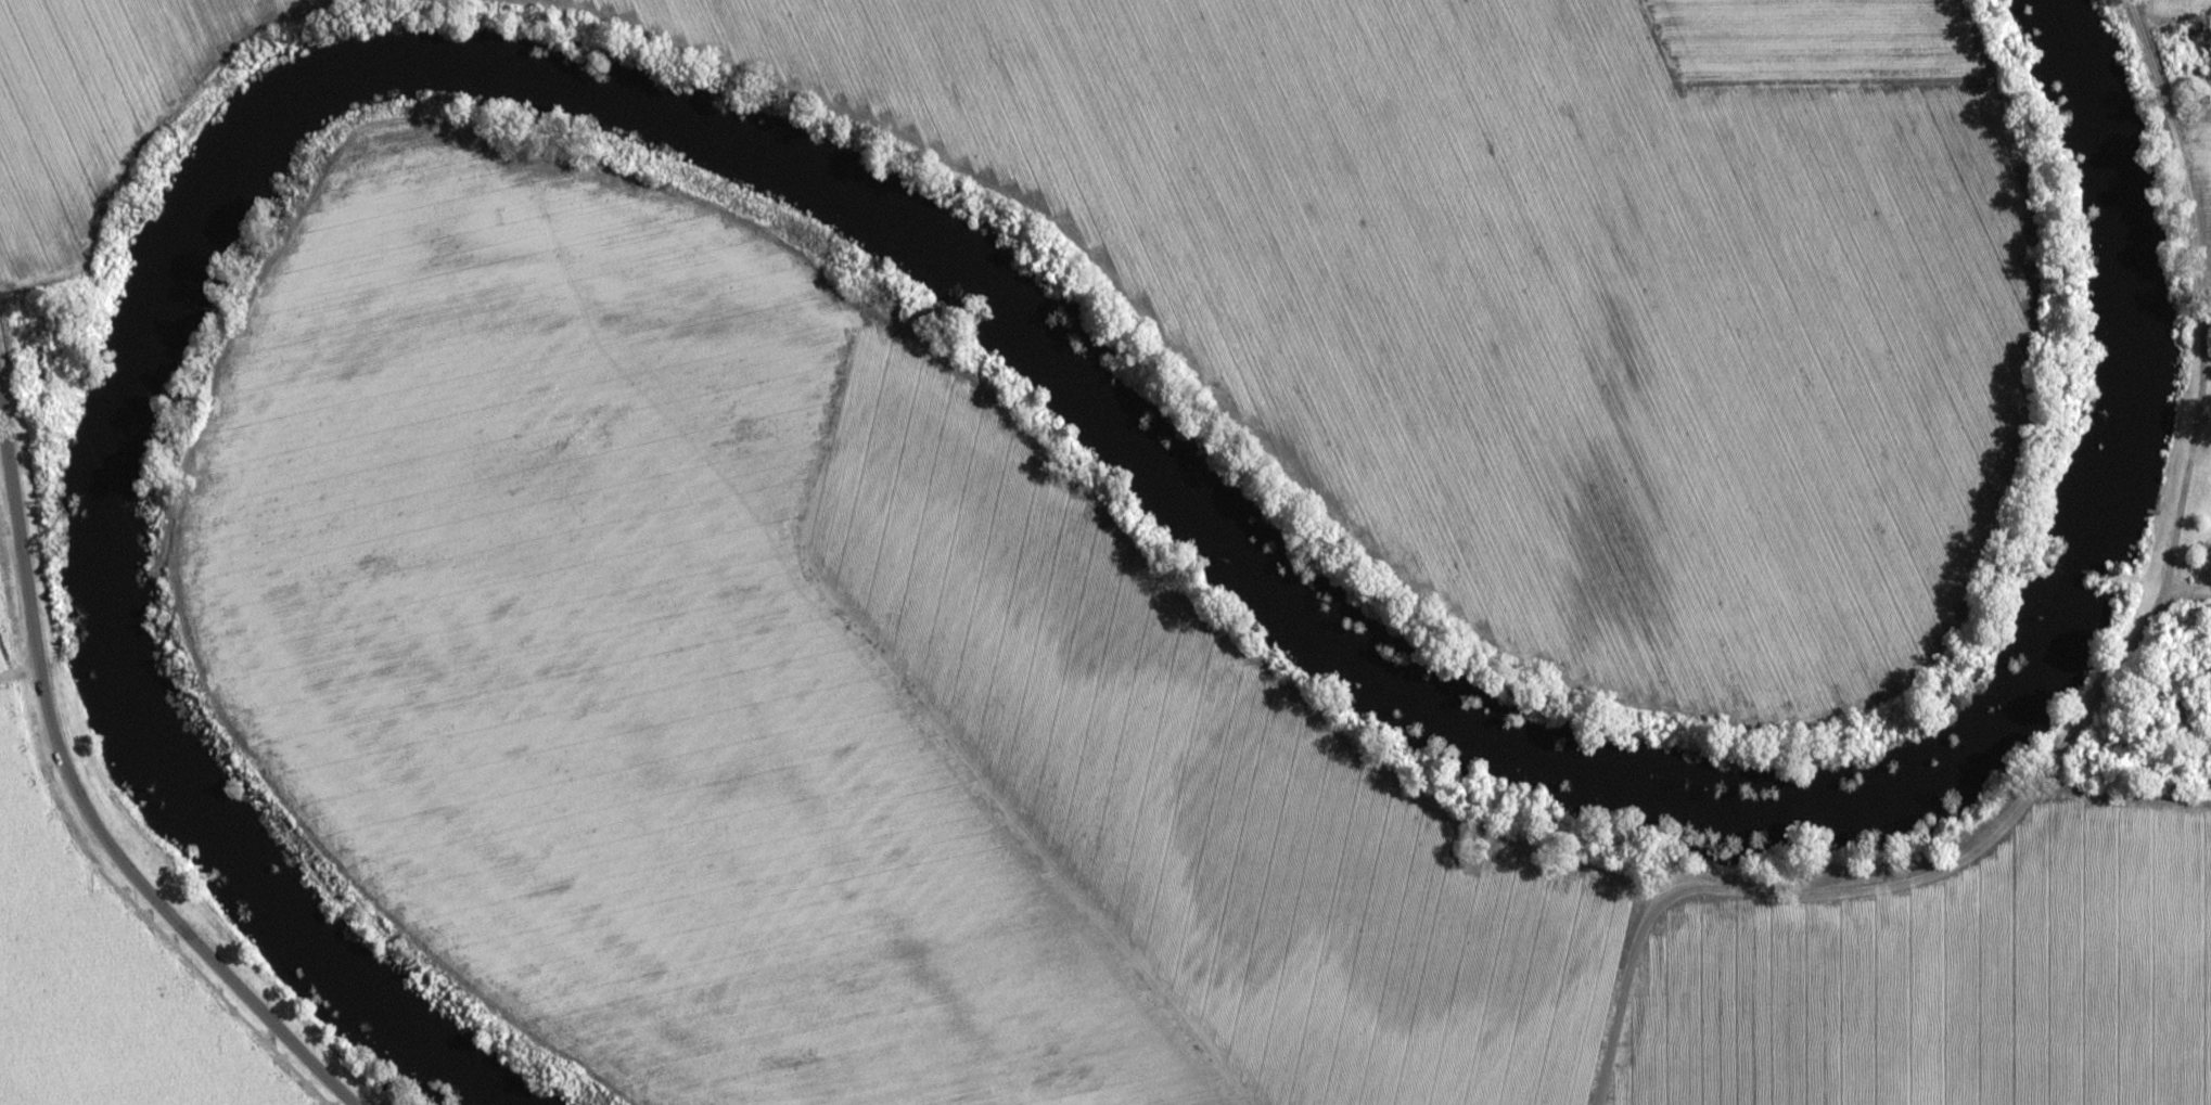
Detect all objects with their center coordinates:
road: (169, 116)
road: (2195, 288)
river: (991, 290)
road: (2187, 589)
building: (2200, 609)
road: (1483, 638)
road: (17, 661)
road: (84, 806)
road: (1877, 889)

